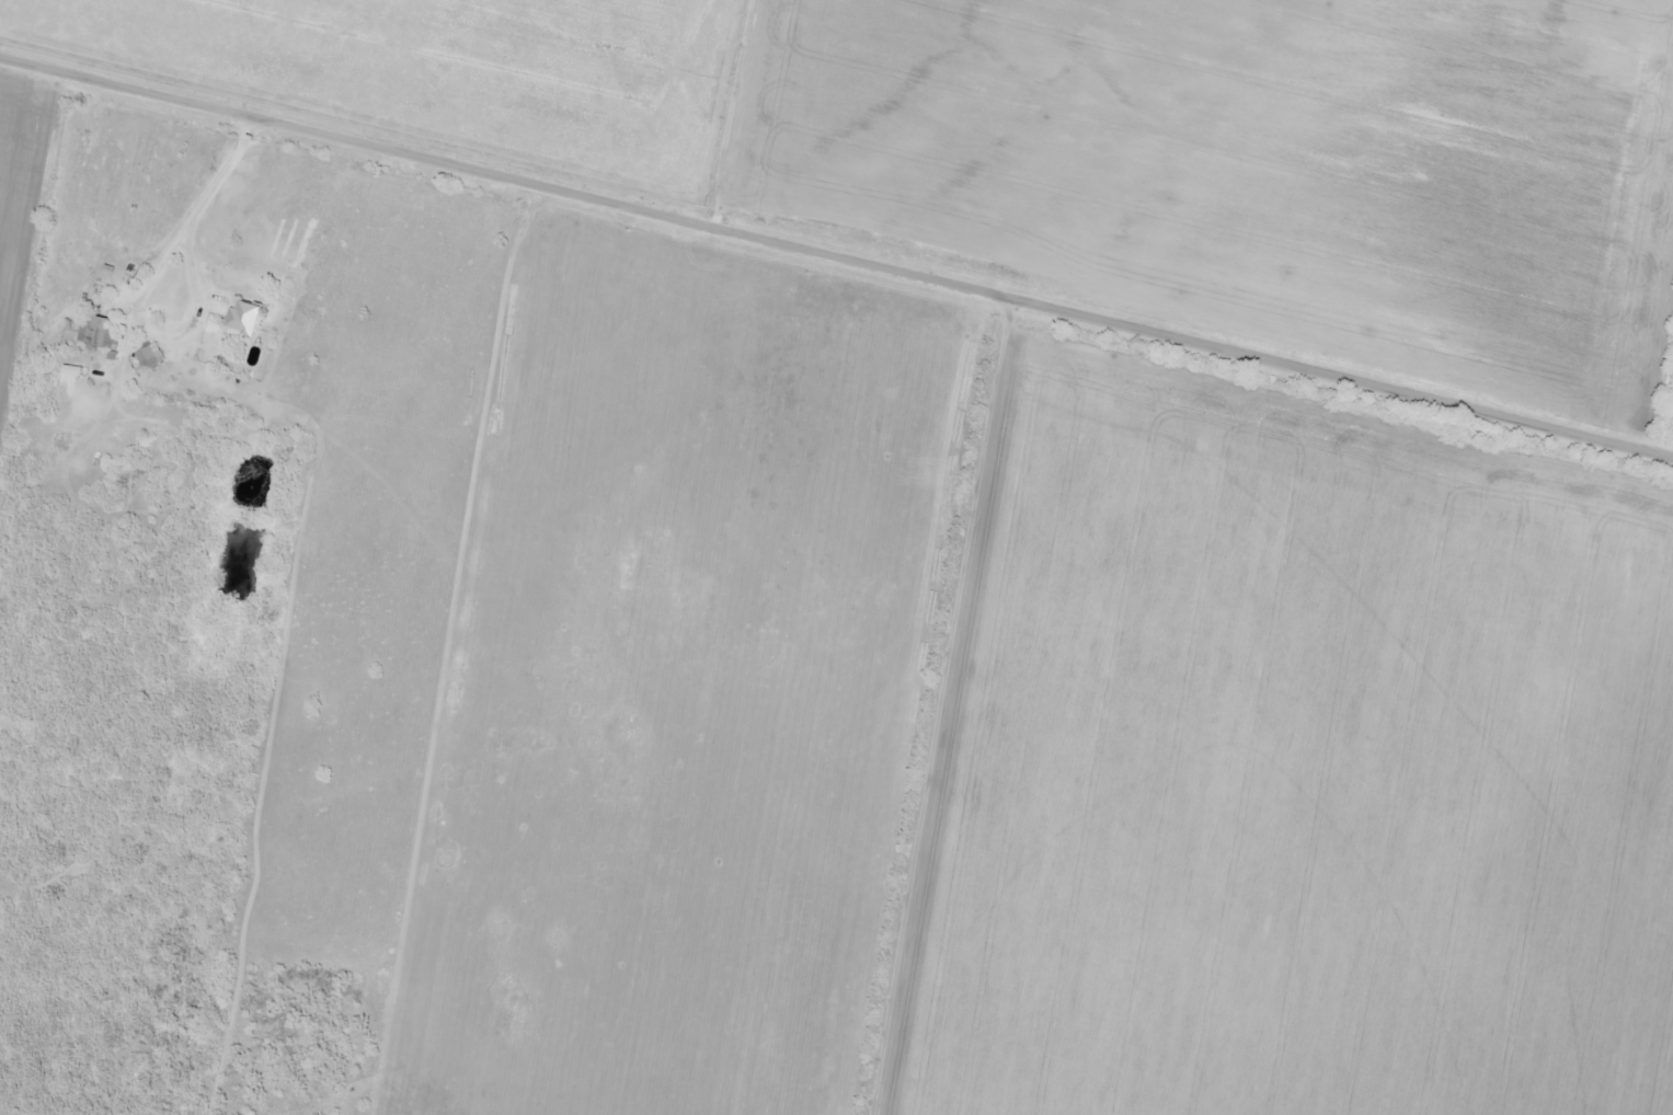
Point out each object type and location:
road: (836, 246)
road: (153, 281)

